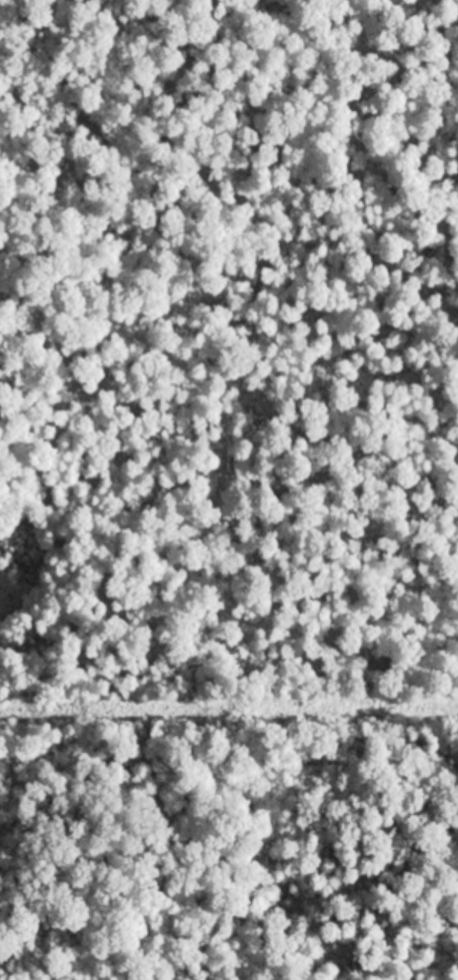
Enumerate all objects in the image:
road: (228, 702)

